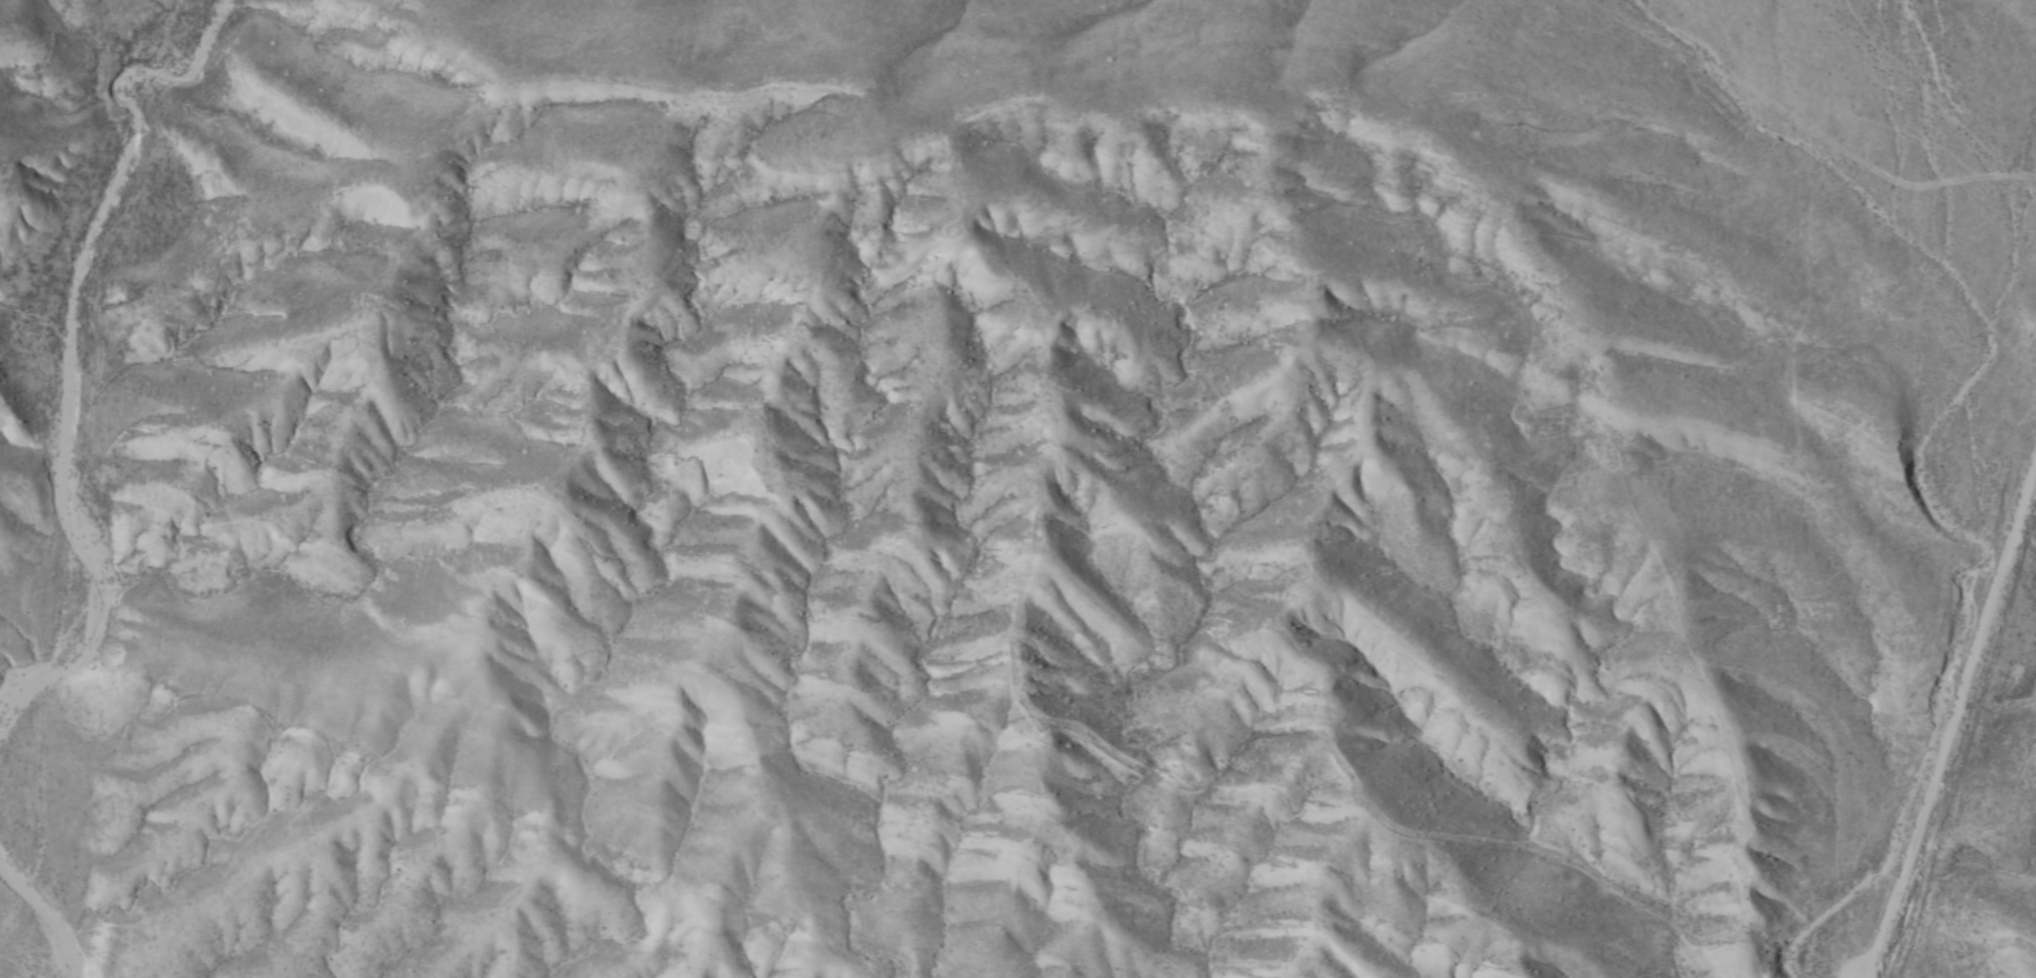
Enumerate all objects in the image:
road: (1956, 778)

